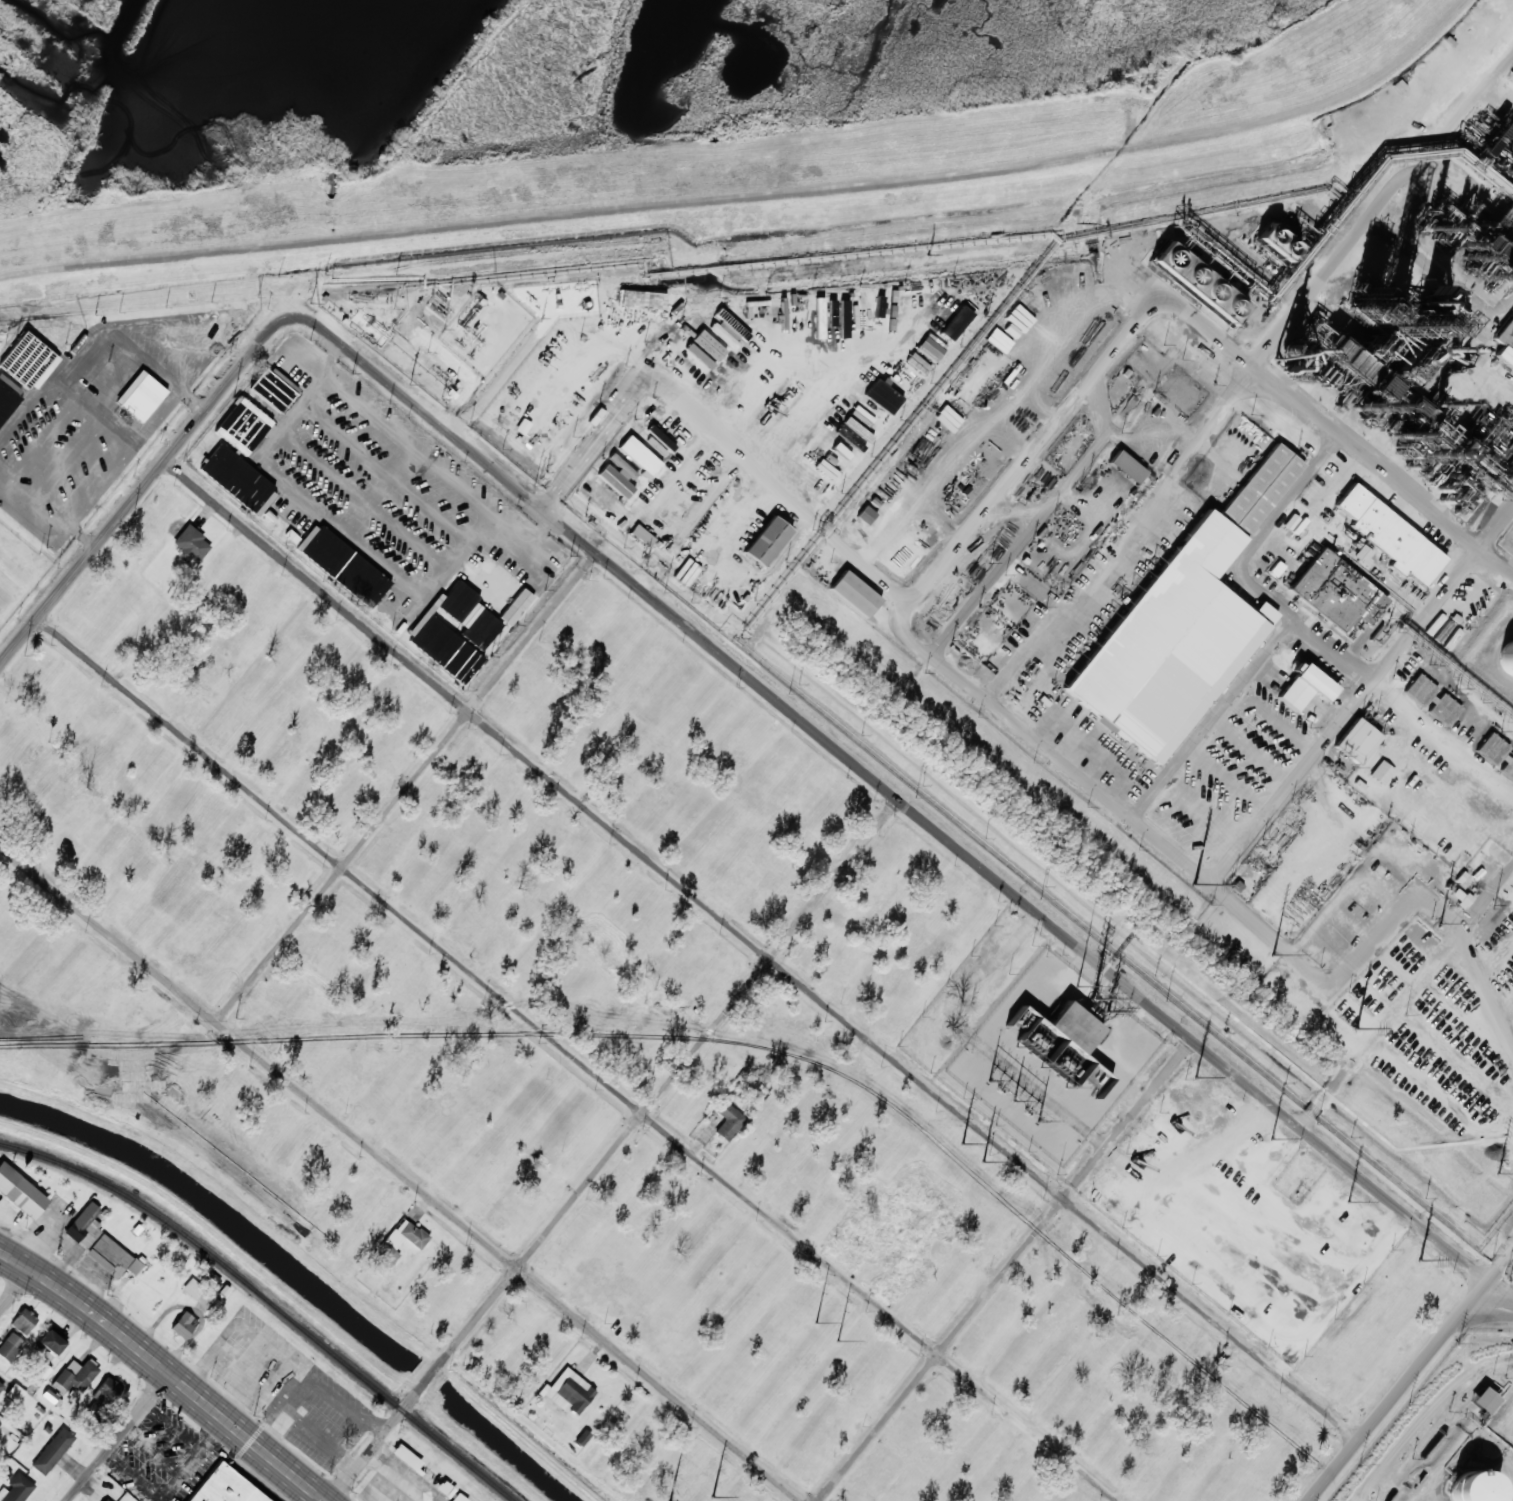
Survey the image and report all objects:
road: (750, 196)
road: (1389, 210)
building: (1275, 241)
building: (1198, 283)
building: (642, 299)
building: (956, 323)
building: (727, 331)
building: (1505, 343)
building: (705, 349)
building: (929, 349)
building: (1429, 355)
building: (24, 358)
building: (274, 388)
building: (140, 396)
building: (882, 396)
building: (6, 401)
building: (1410, 413)
road: (708, 419)
building: (667, 421)
building: (521, 426)
building: (639, 454)
building: (1123, 463)
building: (236, 475)
building: (617, 476)
road: (144, 484)
building: (1257, 484)
building: (866, 514)
road: (965, 519)
building: (1382, 524)
building: (762, 539)
building: (191, 545)
building: (1362, 554)
building: (346, 564)
building: (850, 591)
building: (1331, 591)
building: (515, 606)
building: (1160, 641)
building: (444, 645)
building: (1503, 661)
building: (1304, 687)
road: (1356, 691)
building: (1432, 699)
building: (1351, 738)
building: (1496, 754)
building: (1380, 772)
road: (406, 787)
road: (893, 795)
road: (760, 950)
road: (1397, 984)
building: (1073, 1026)
power substation: (1052, 1056)
road: (576, 1058)
building: (726, 1118)
road: (613, 1149)
road: (400, 1173)
building: (20, 1192)
building: (84, 1226)
building: (400, 1240)
building: (112, 1257)
road: (1500, 1265)
road: (1005, 1270)
building: (210, 1278)
road: (17, 1287)
building: (201, 1295)
railway: (267, 1302)
road: (1492, 1307)
building: (23, 1321)
building: (184, 1324)
building: (51, 1342)
building: (10, 1346)
road: (164, 1370)
building: (76, 1375)
building: (2, 1388)
building: (105, 1390)
road: (1397, 1390)
building: (568, 1391)
building: (15, 1392)
building: (1478, 1399)
road: (117, 1437)
building: (52, 1451)
building: (422, 1470)
building: (225, 1487)
building: (16, 1488)
building: (1461, 1490)
building: (457, 1497)
building: (106, 1500)

